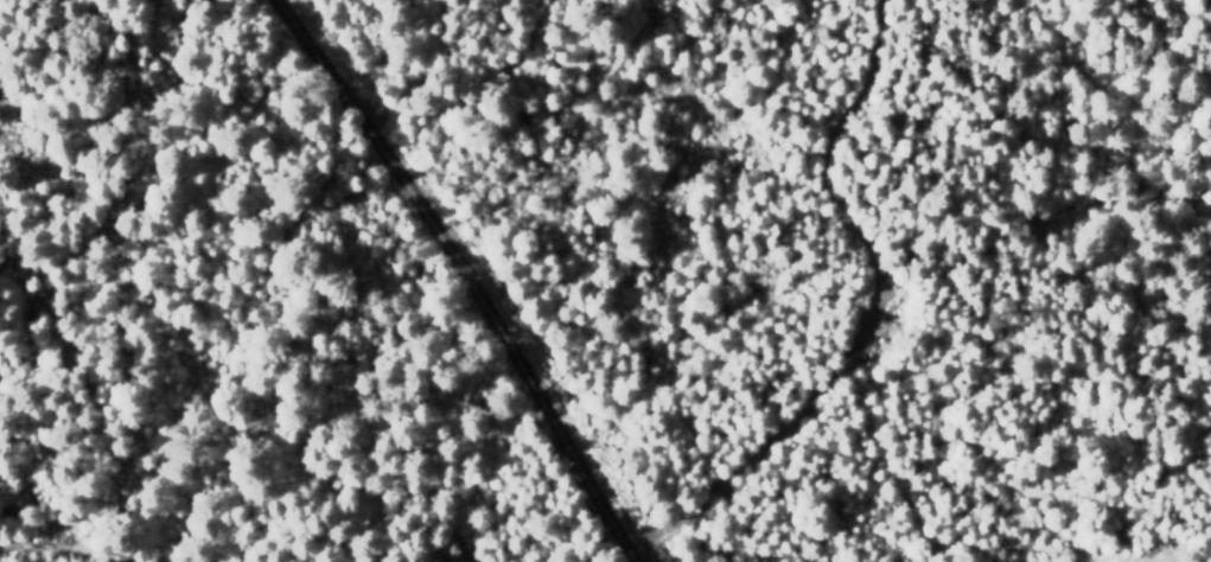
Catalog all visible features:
road: (465, 273)

